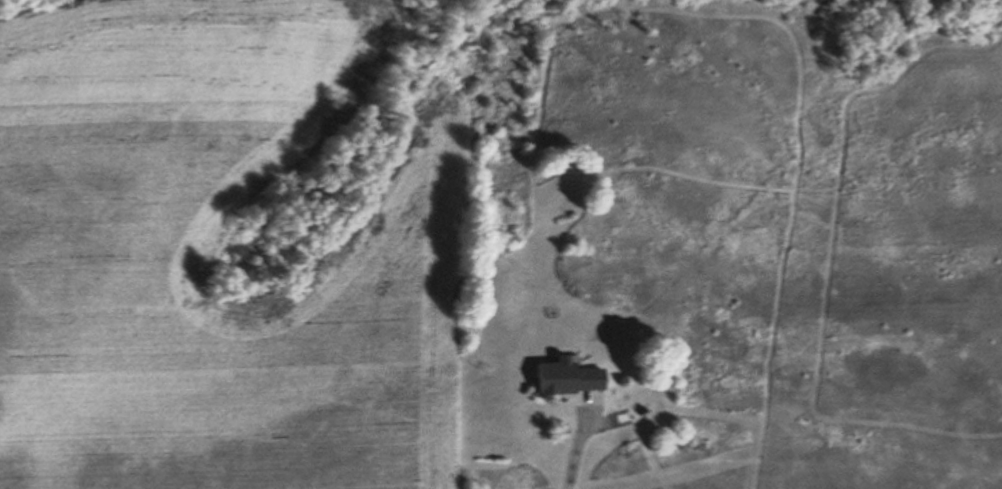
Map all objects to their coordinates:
building: (567, 382)
road: (575, 455)

